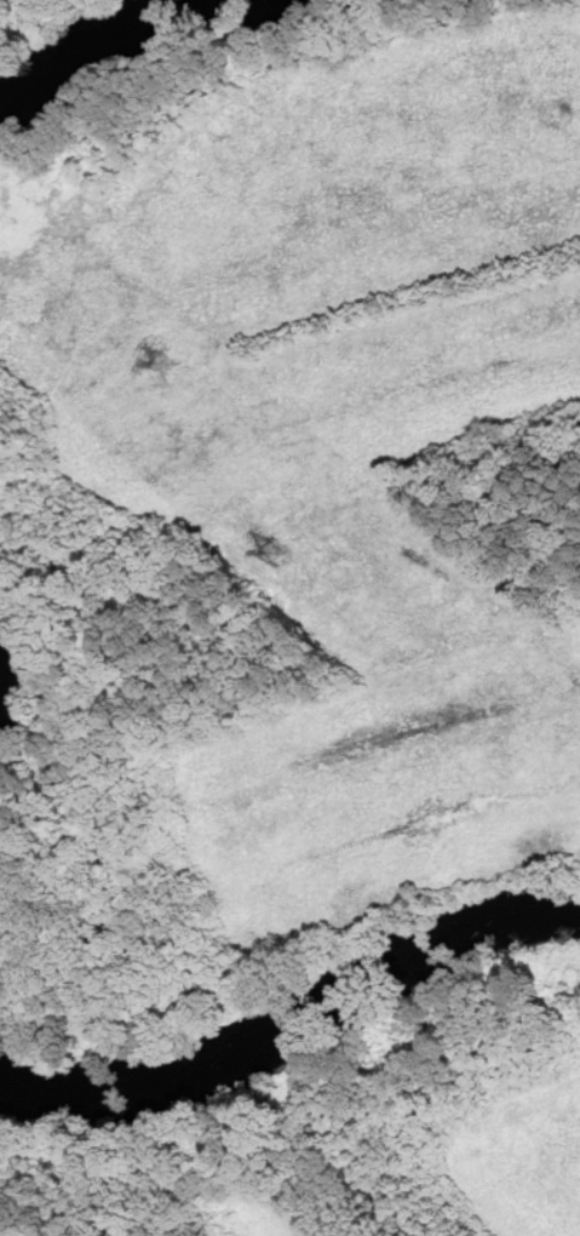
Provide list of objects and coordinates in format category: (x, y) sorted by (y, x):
river: (137, 50)
power tower: (168, 368)
power tower: (274, 556)
river: (294, 1028)

